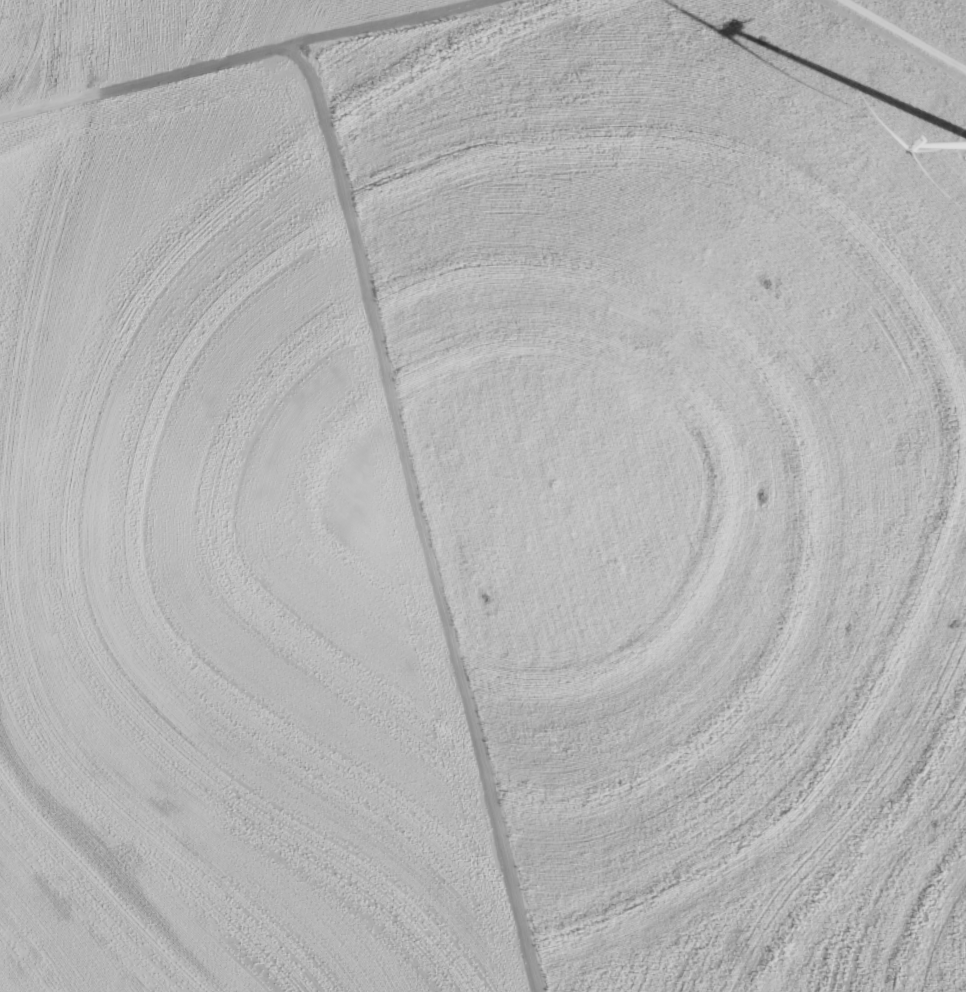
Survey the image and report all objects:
road: (904, 35)

